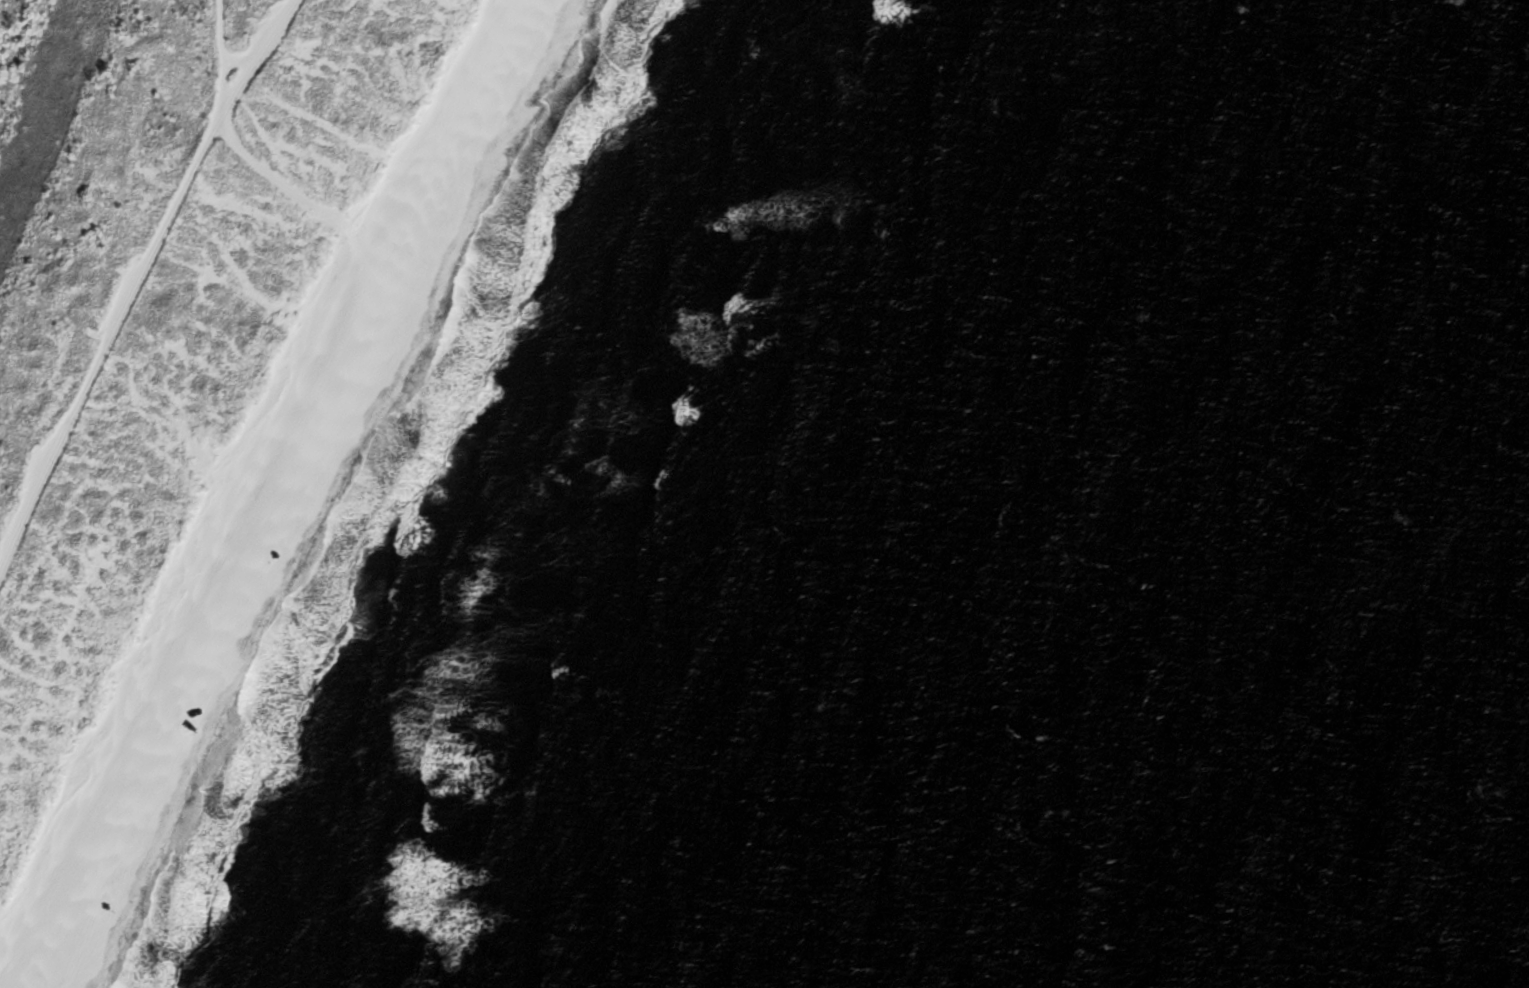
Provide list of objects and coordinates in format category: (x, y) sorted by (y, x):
road: (222, 61)
road: (287, 184)
road: (137, 281)

